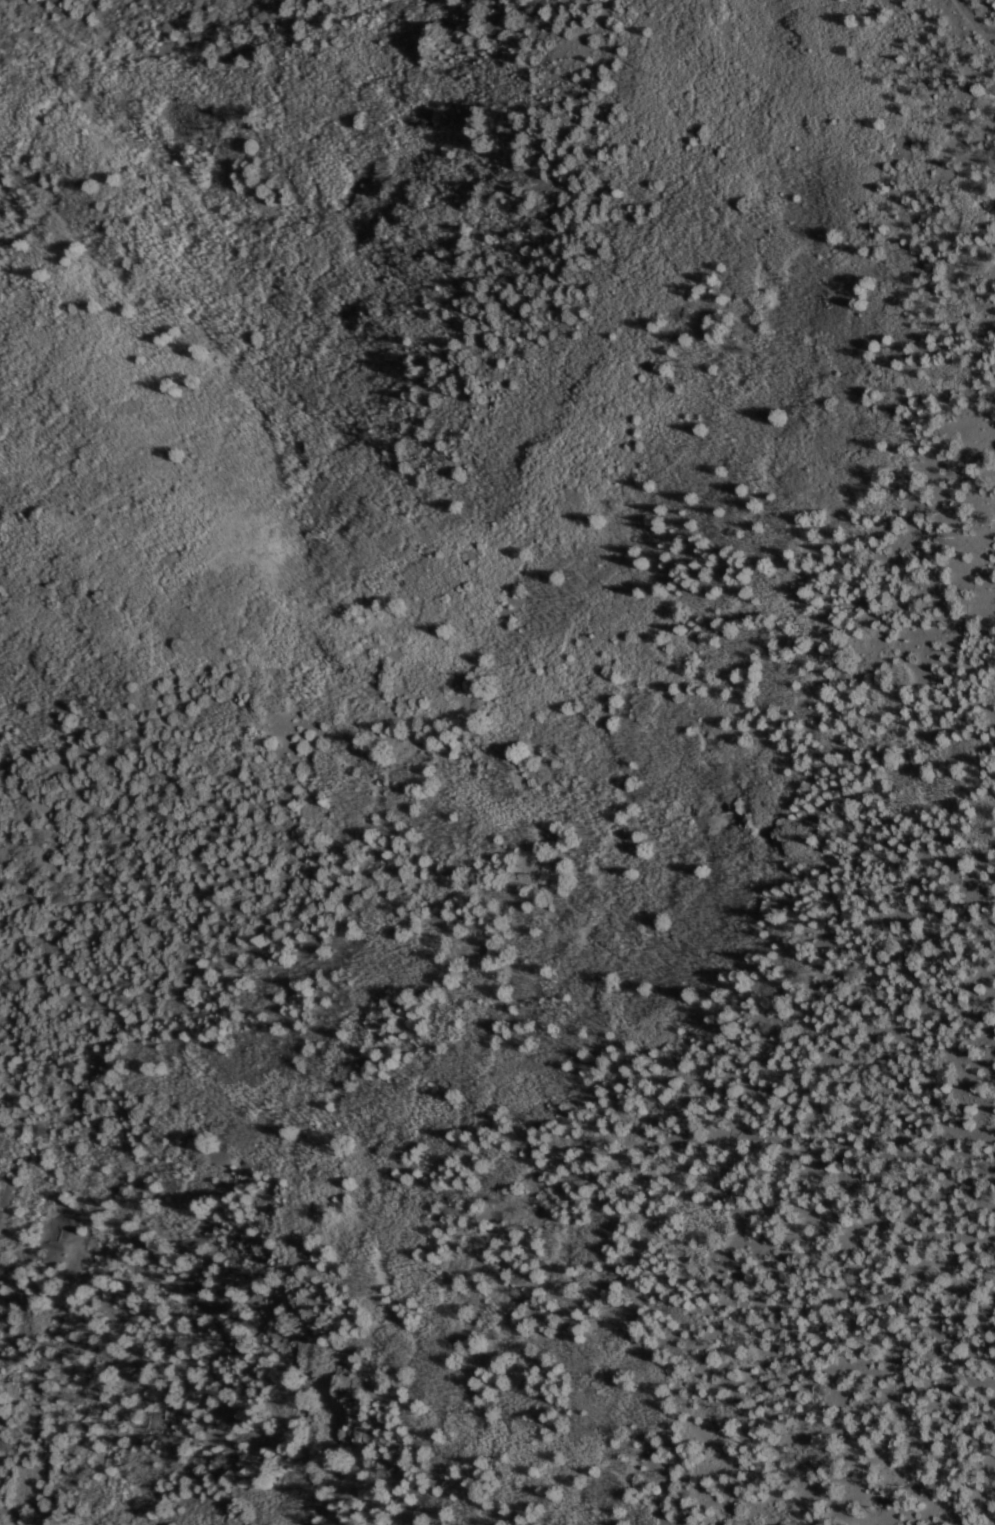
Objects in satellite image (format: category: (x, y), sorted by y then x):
road: (975, 26)

